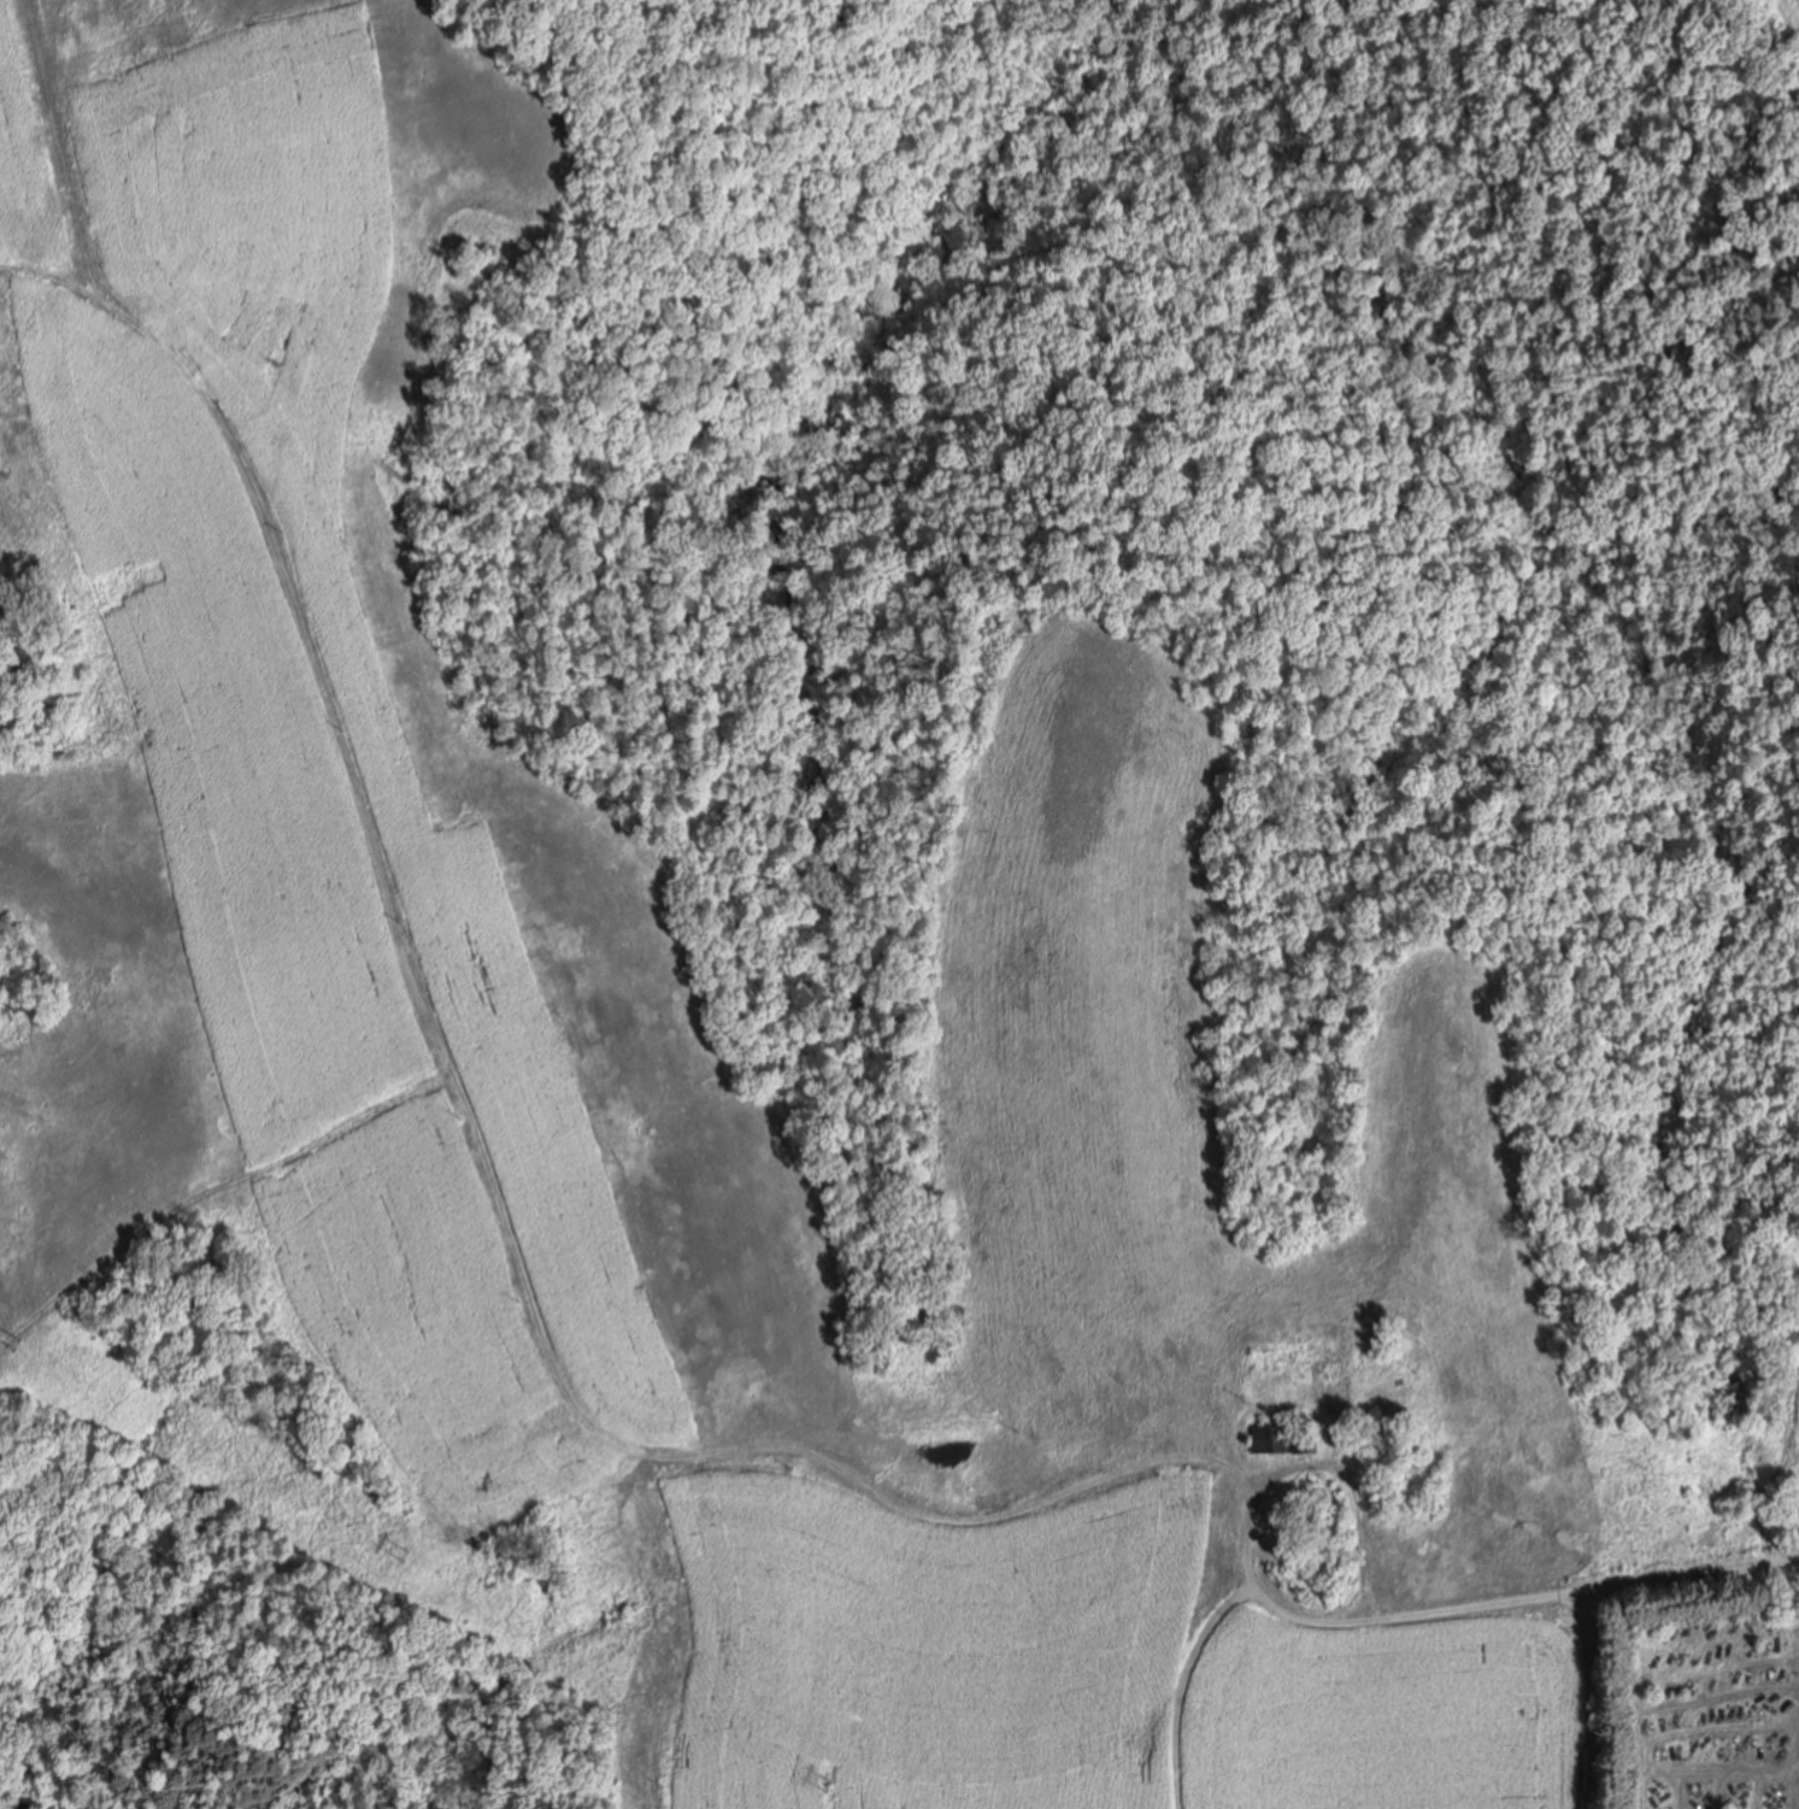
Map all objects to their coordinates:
power tower: (24, 1341)
power tower: (412, 1555)
road: (1705, 1572)
road: (1260, 1590)
road: (1186, 1684)
power tower: (834, 1784)

